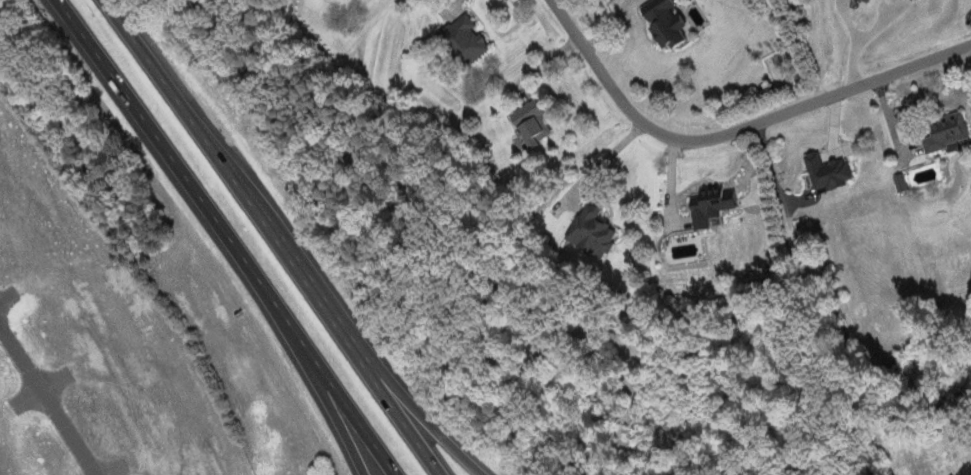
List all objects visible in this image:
building: (919, 0)
building: (868, 1)
building: (671, 22)
building: (465, 41)
building: (536, 123)
road: (735, 123)
building: (950, 131)
road: (602, 156)
road: (767, 168)
building: (832, 172)
building: (902, 185)
building: (717, 209)
building: (596, 229)
road: (226, 236)
road: (276, 236)
road: (307, 361)
road: (405, 396)
road: (49, 398)
road: (352, 446)

